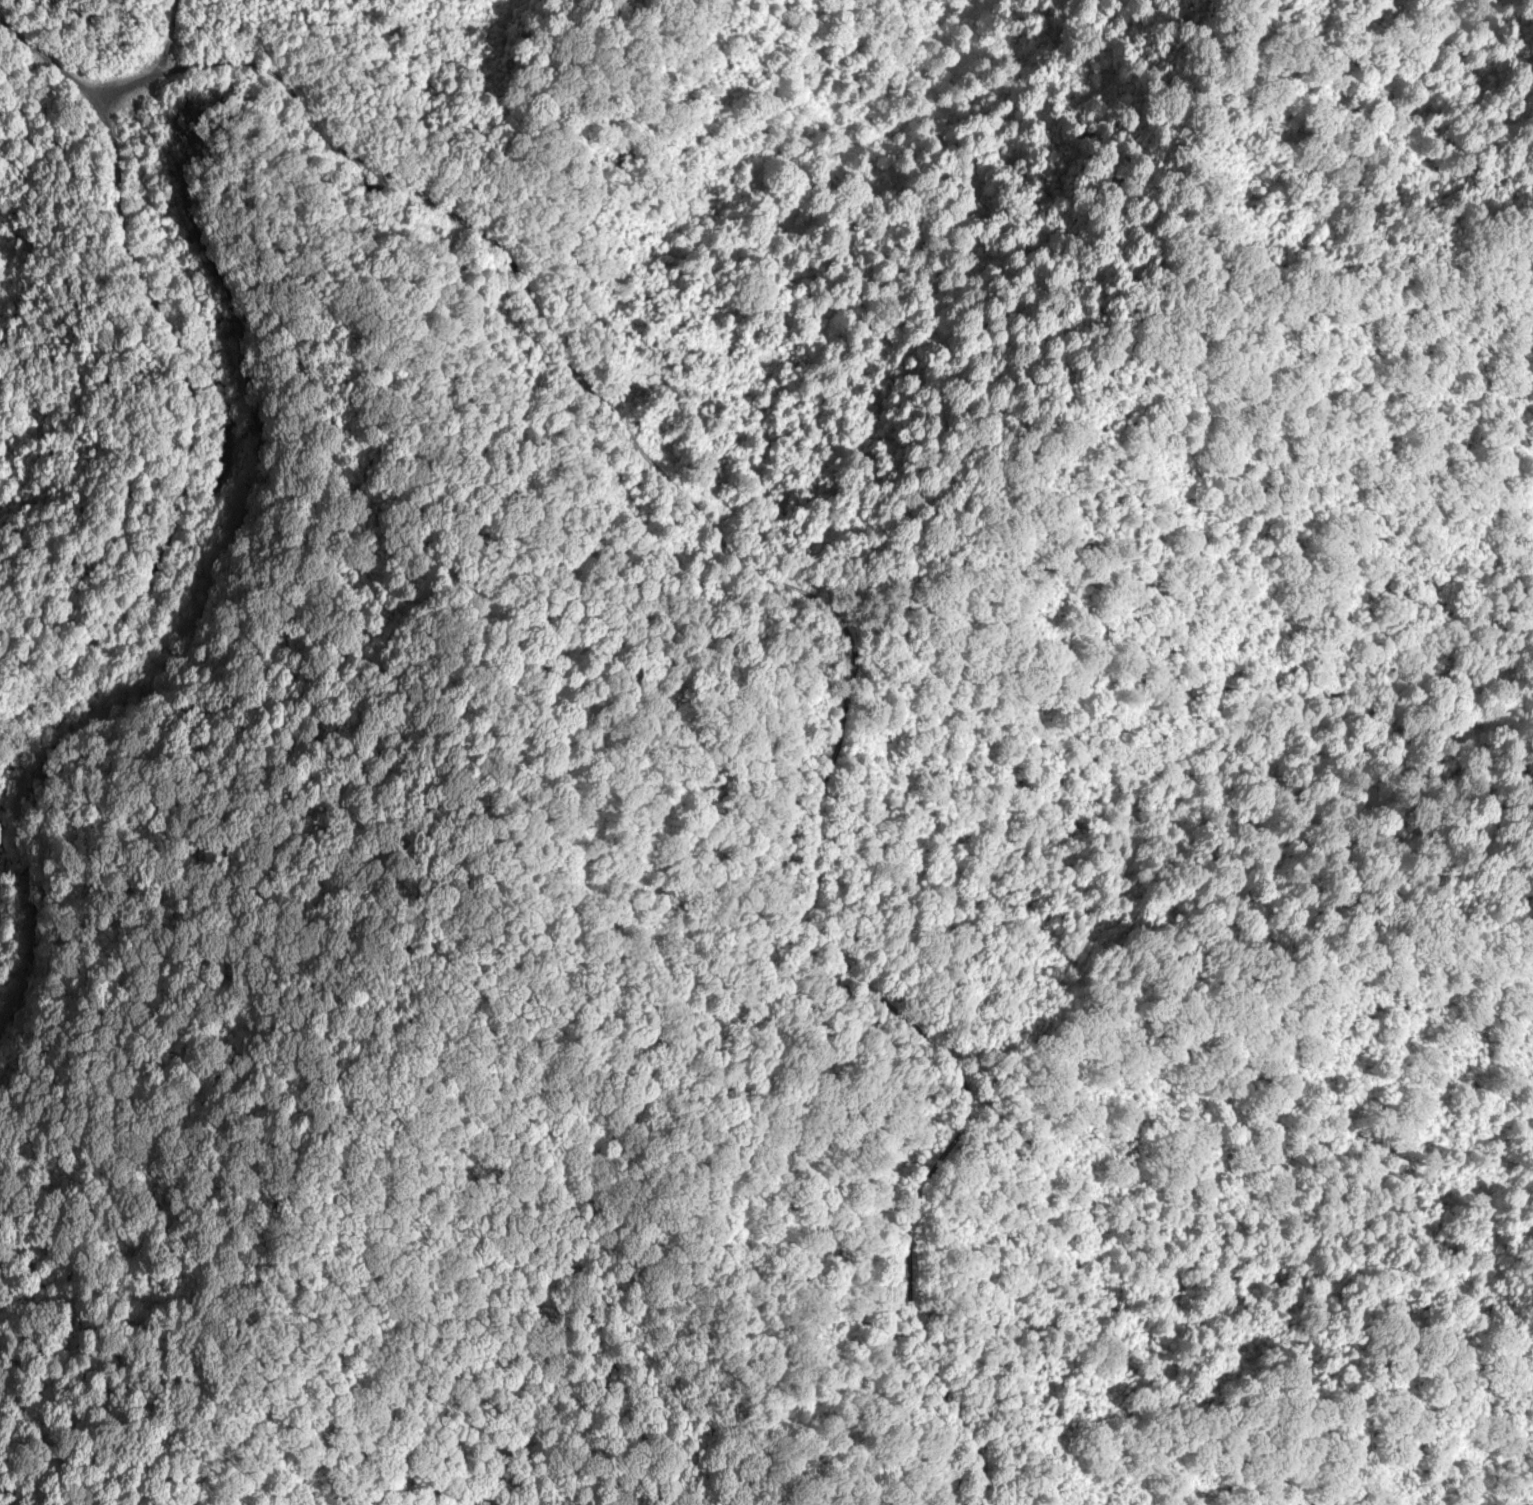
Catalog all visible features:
road: (143, 392)

